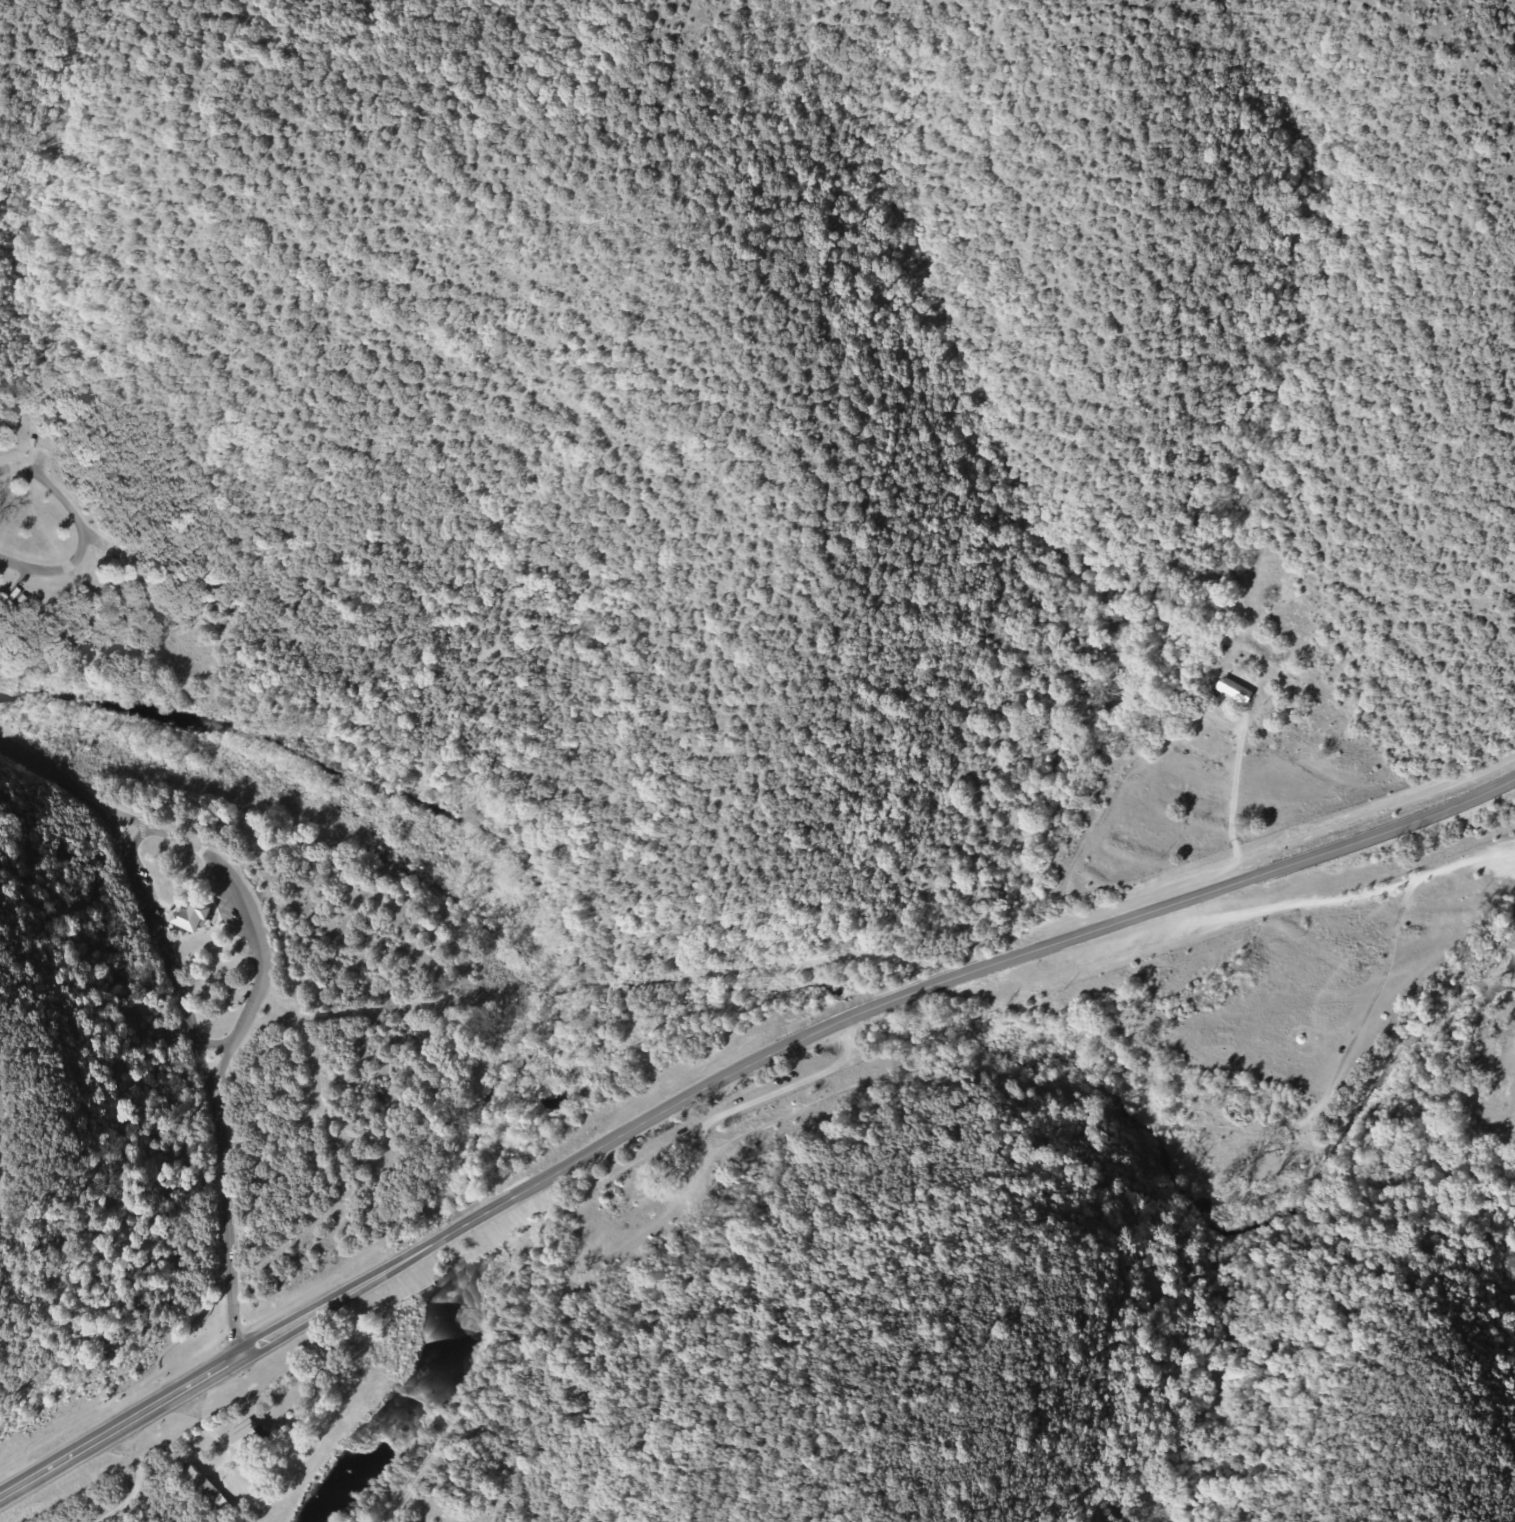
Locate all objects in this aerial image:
road: (43, 463)
road: (82, 528)
road: (99, 540)
road: (20, 581)
park: (415, 634)
building: (1231, 691)
river: (140, 712)
road: (181, 841)
parking lot: (150, 904)
parking lot: (238, 908)
building: (196, 917)
river: (595, 925)
road: (262, 982)
road: (180, 1004)
road: (212, 1046)
road: (729, 1075)
road: (780, 1091)
building: (653, 1173)
river: (452, 1247)
river: (413, 1407)
building: (251, 1434)
building: (210, 1488)

